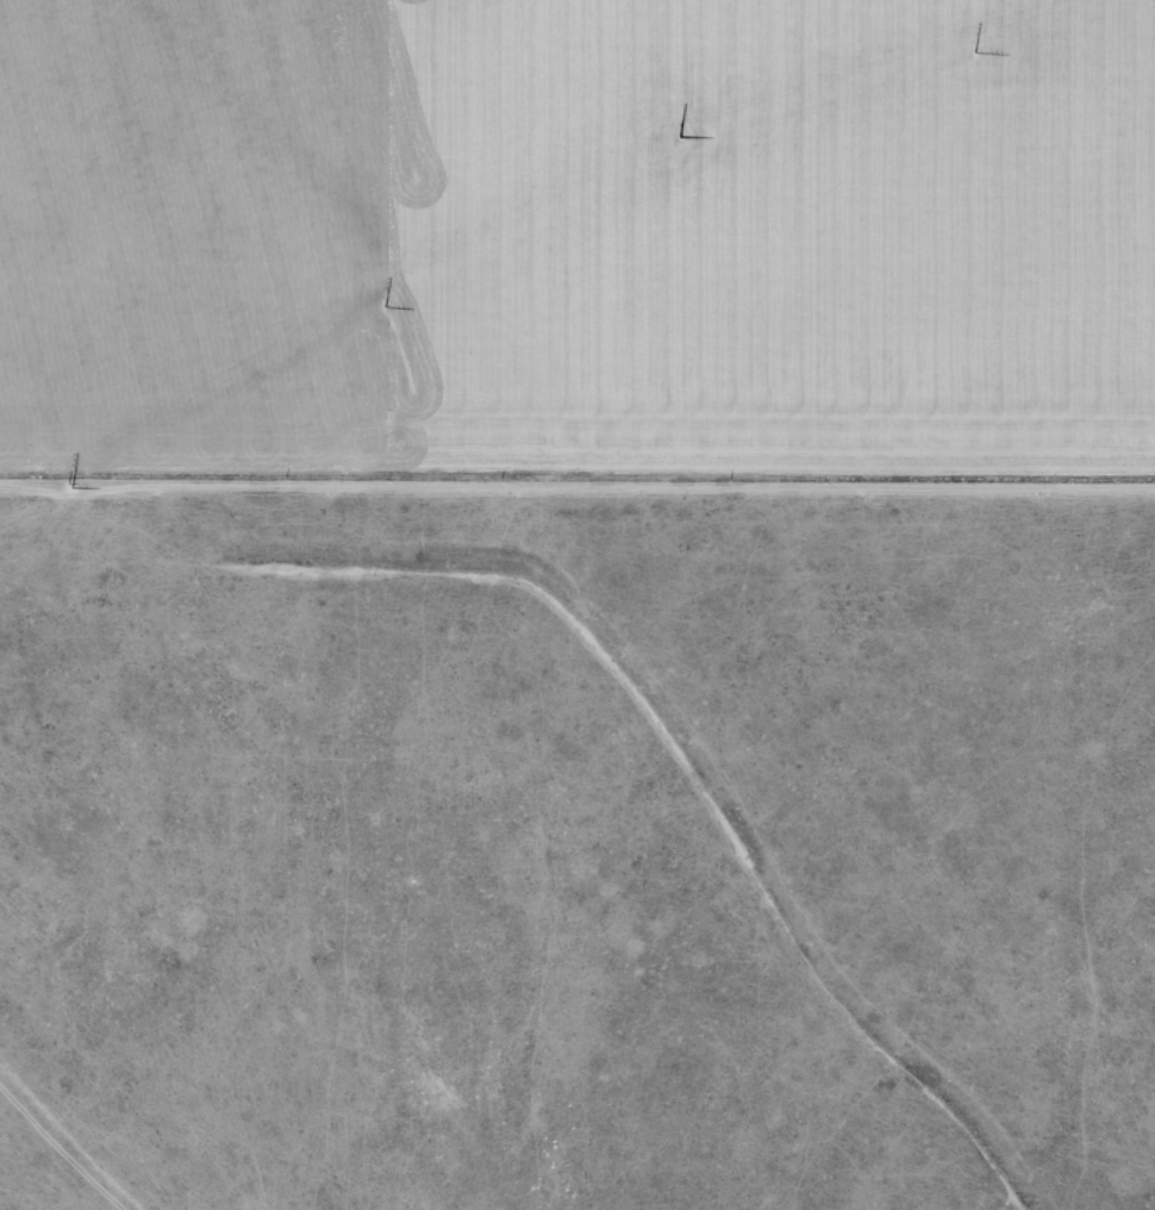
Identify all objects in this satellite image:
power tower: (1020, 37)
power tower: (680, 131)
power tower: (385, 298)
power tower: (70, 481)

